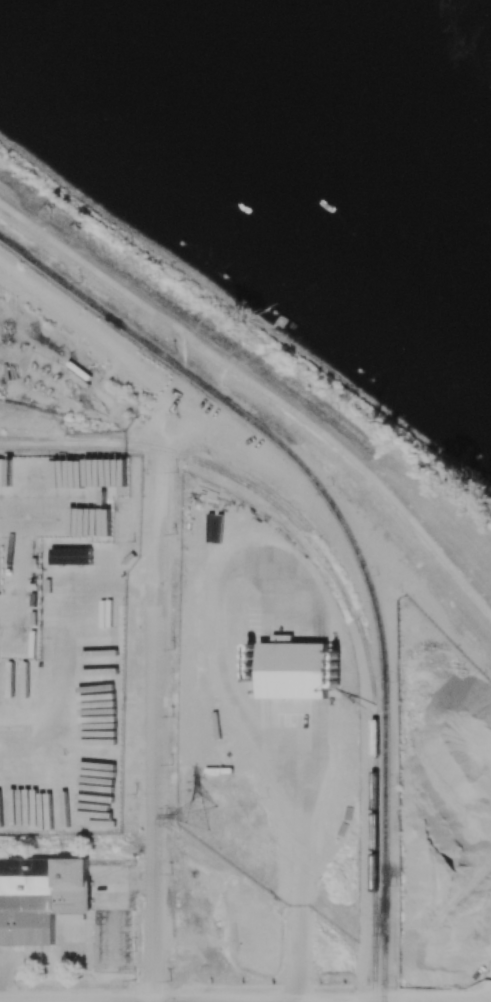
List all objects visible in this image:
river: (352, 102)
road: (262, 388)
railway: (351, 538)
building: (70, 556)
road: (157, 735)
power tower: (201, 818)
road: (299, 825)
railway: (375, 874)
building: (40, 896)

